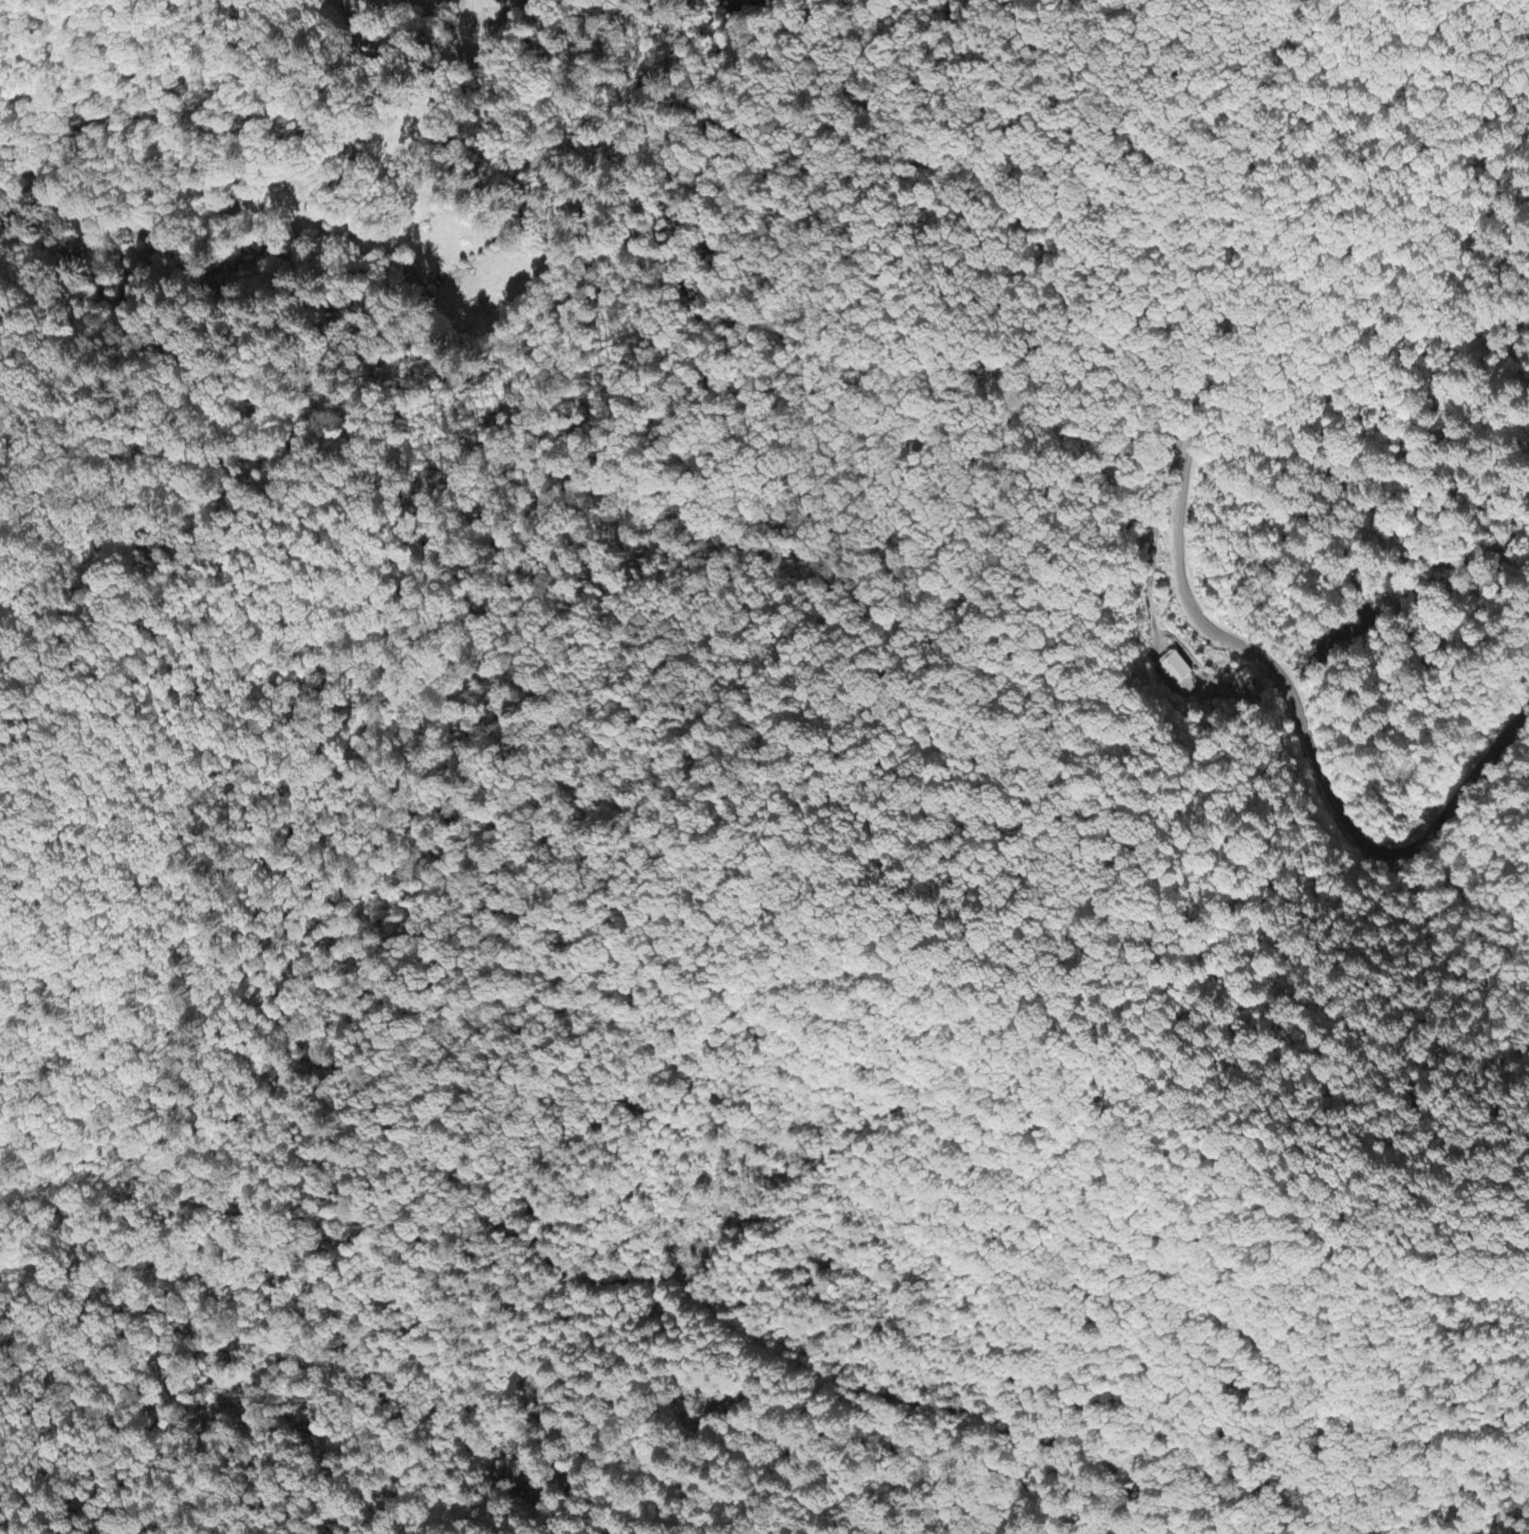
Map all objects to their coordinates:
road: (1225, 226)
building: (1176, 669)
road: (1299, 744)

